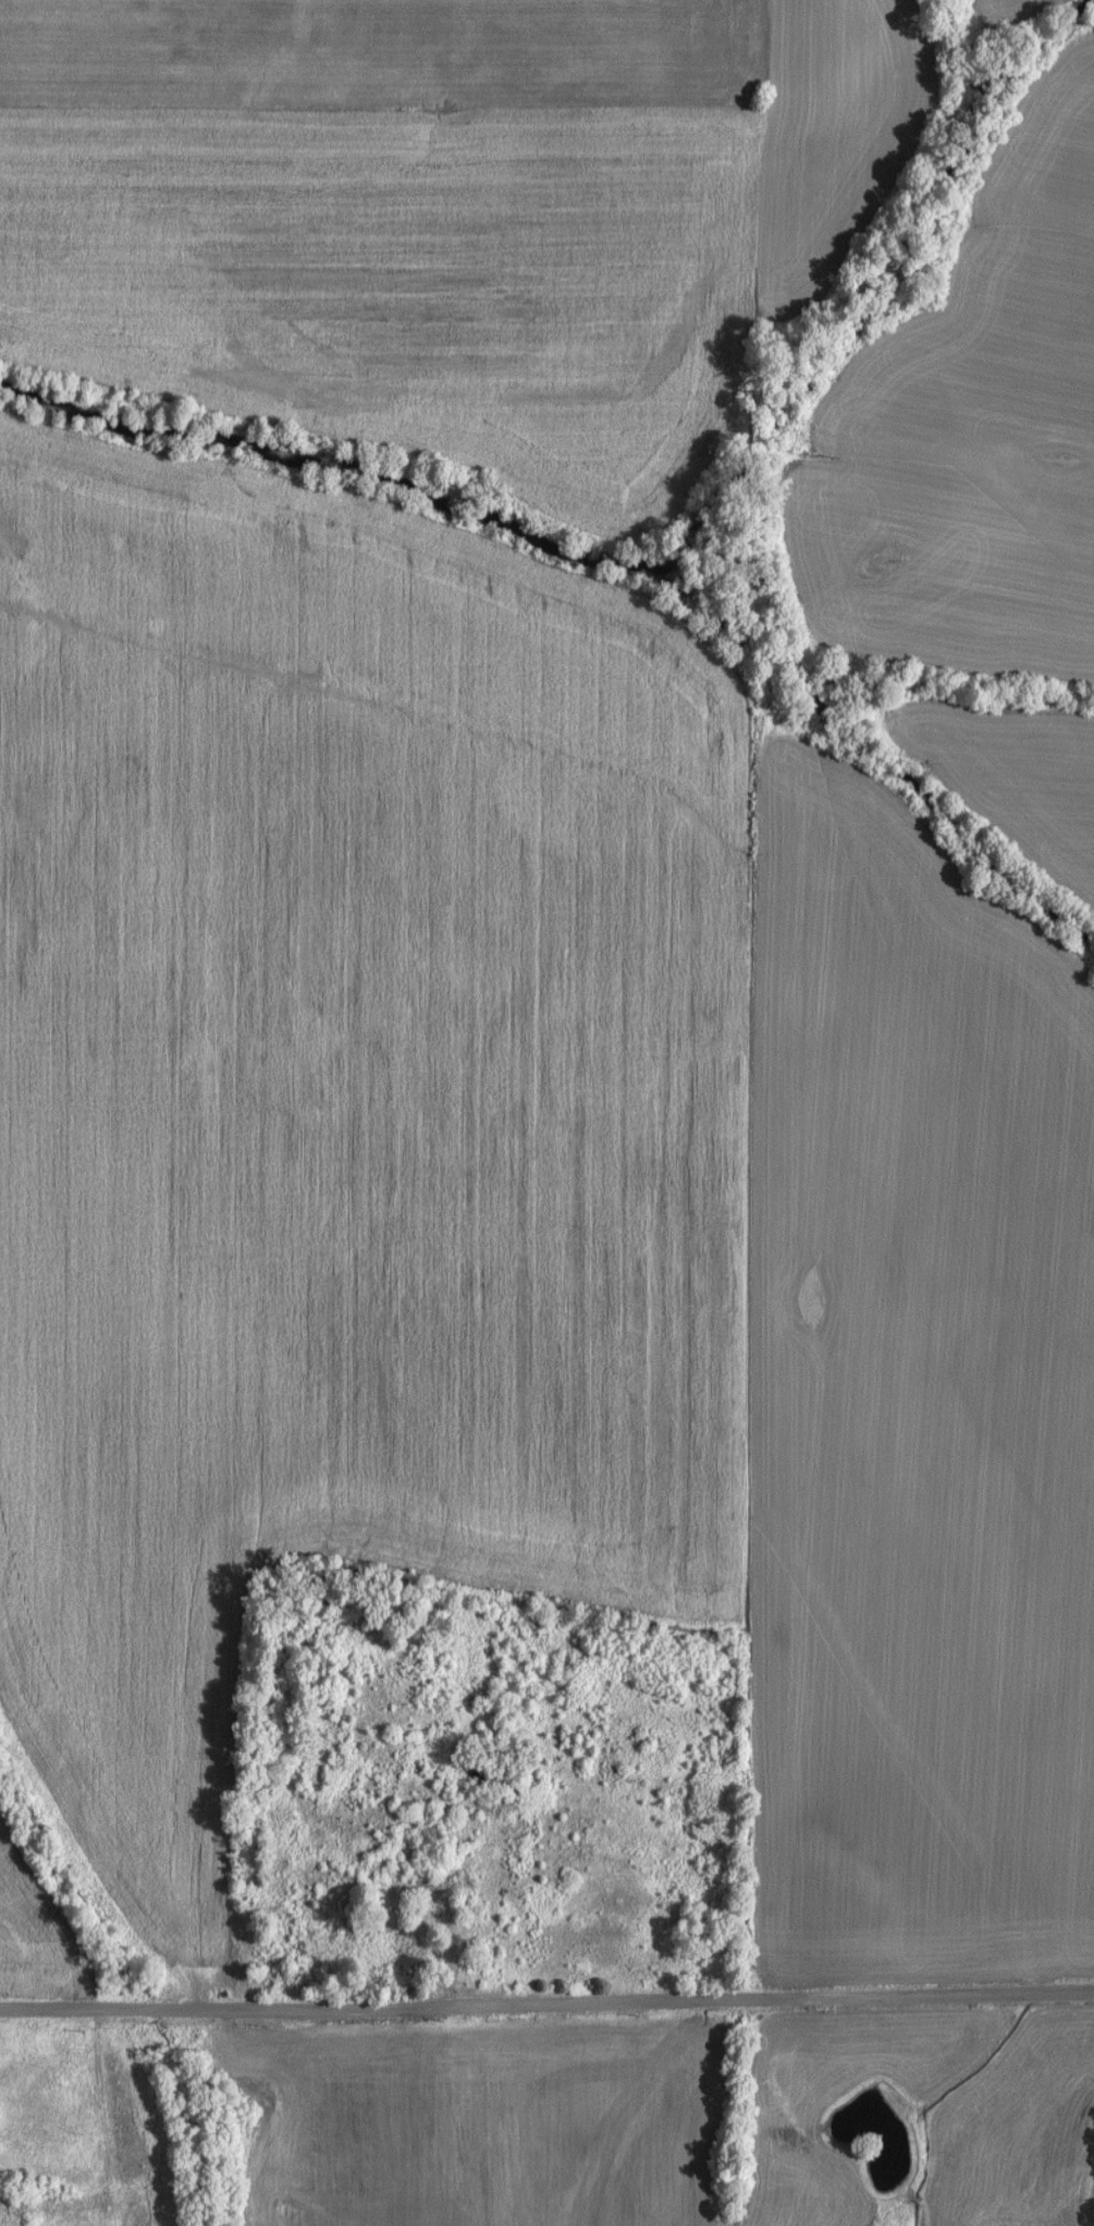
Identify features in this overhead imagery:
building: (418, 1886)
building: (368, 1957)
road: (546, 2005)

